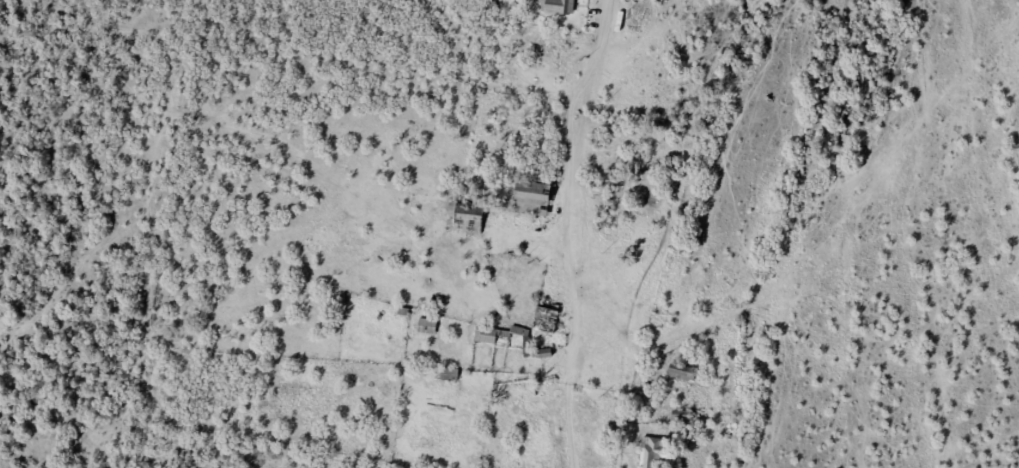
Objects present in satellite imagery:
building: (558, 8)
road: (601, 45)
building: (535, 199)
building: (466, 221)
road: (572, 276)
building: (547, 319)
building: (428, 329)
building: (487, 338)
building: (680, 375)
building: (656, 453)

